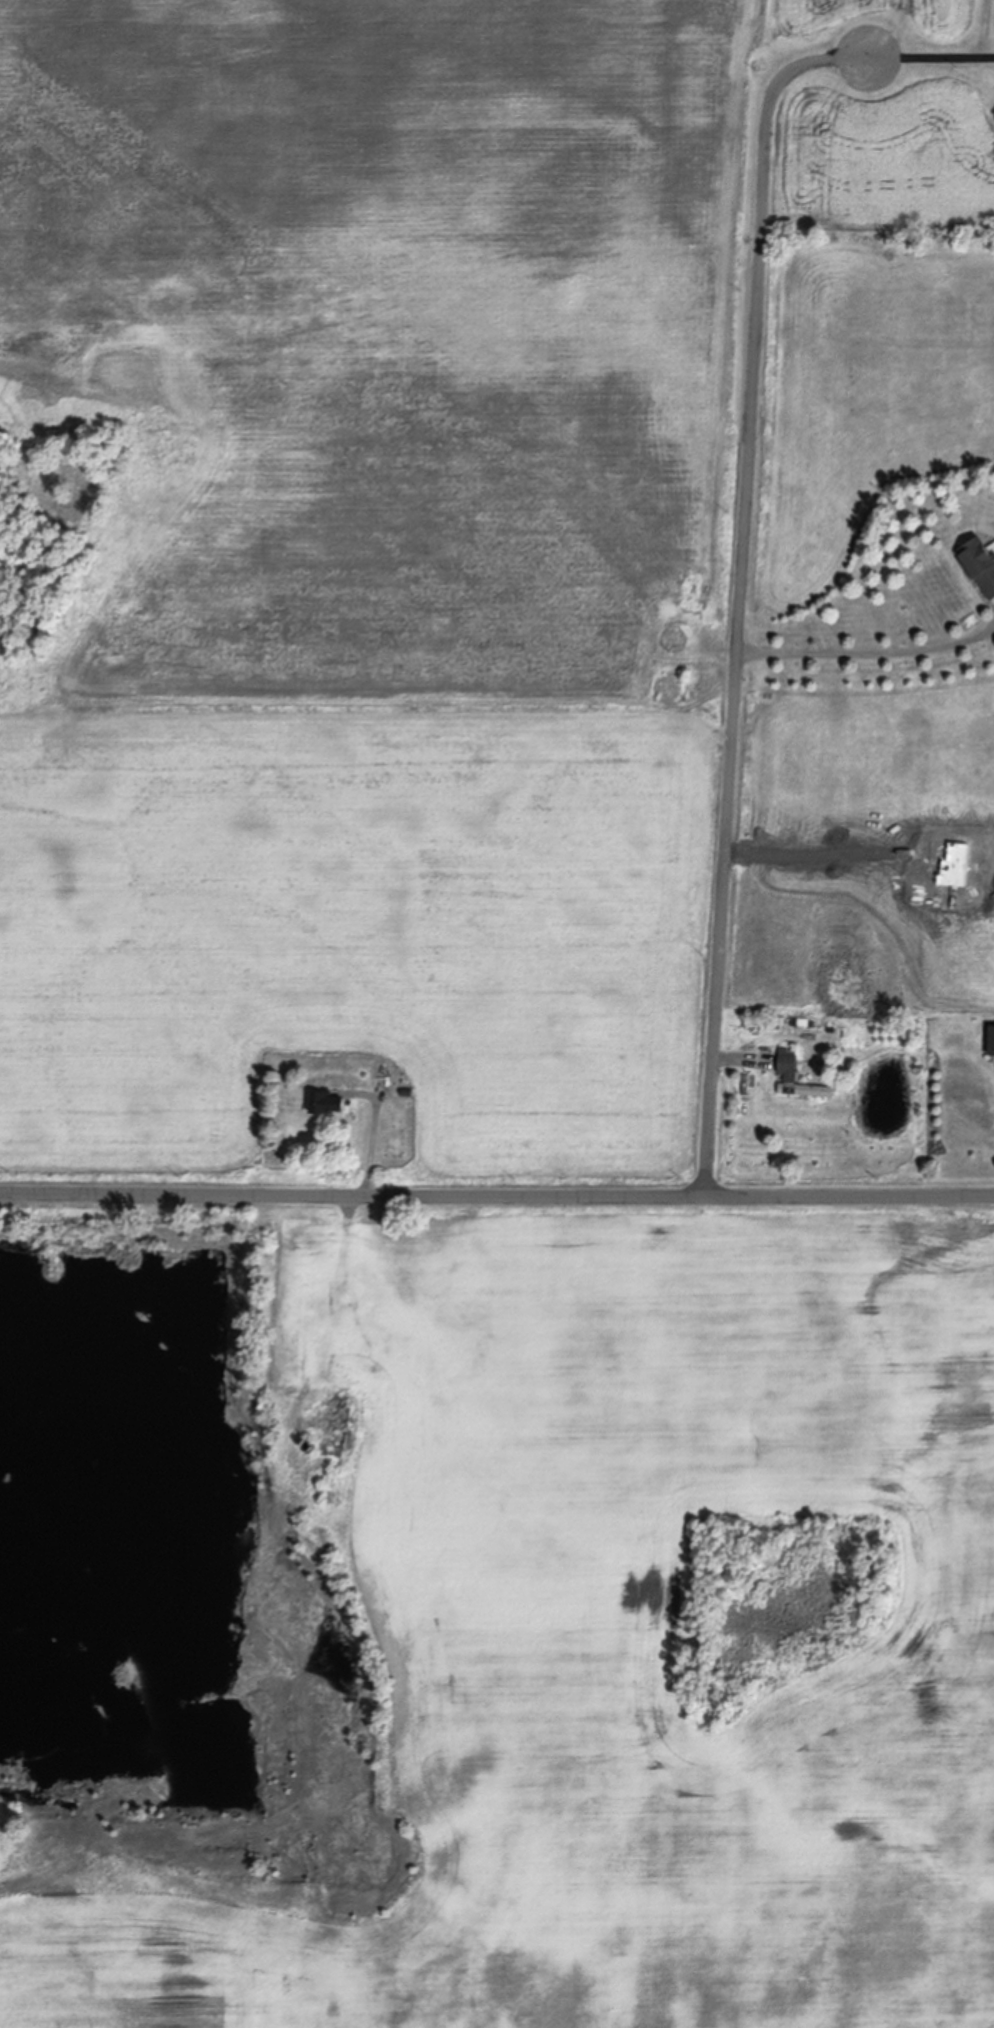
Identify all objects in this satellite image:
road: (874, 57)
building: (979, 562)
road: (739, 649)
road: (867, 652)
building: (992, 1040)
building: (791, 1077)
building: (326, 1102)
road: (375, 1132)
road: (496, 1198)
building: (298, 1322)
building: (335, 1432)
building: (309, 1446)

